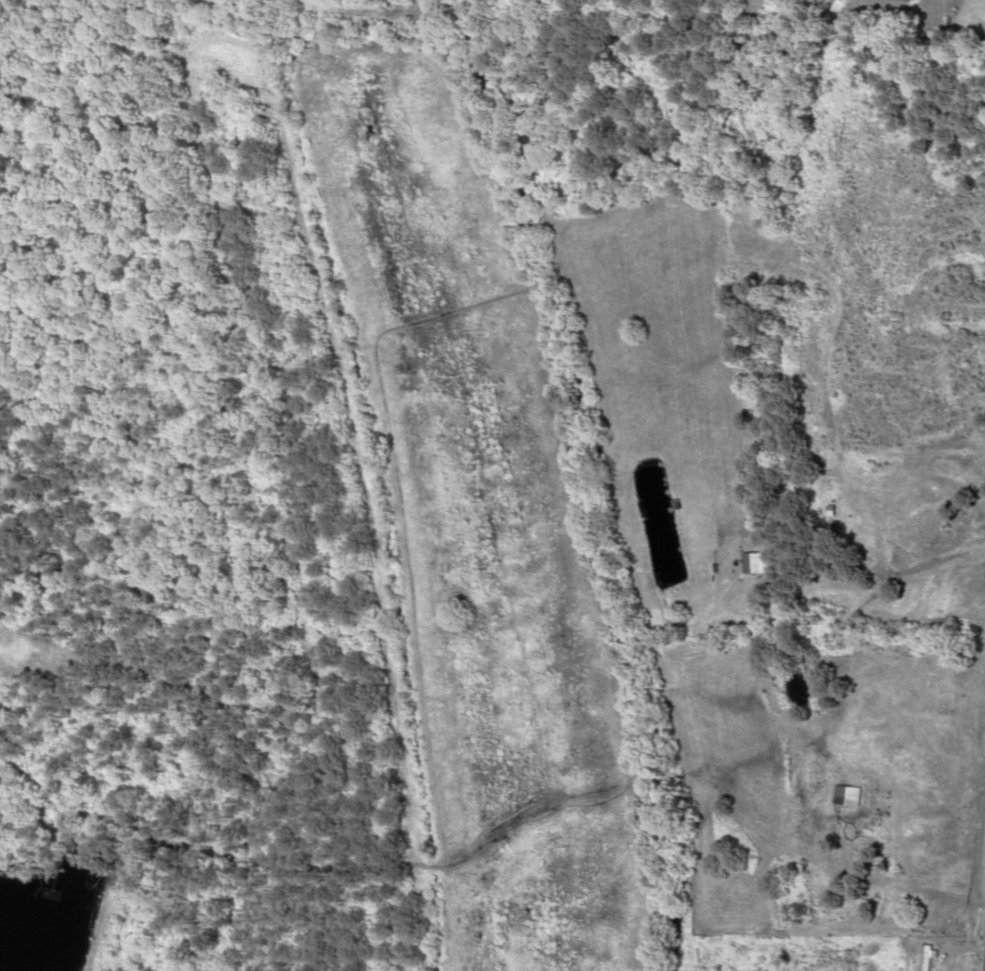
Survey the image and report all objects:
building: (769, 564)
building: (856, 793)
road: (981, 933)
building: (936, 957)

